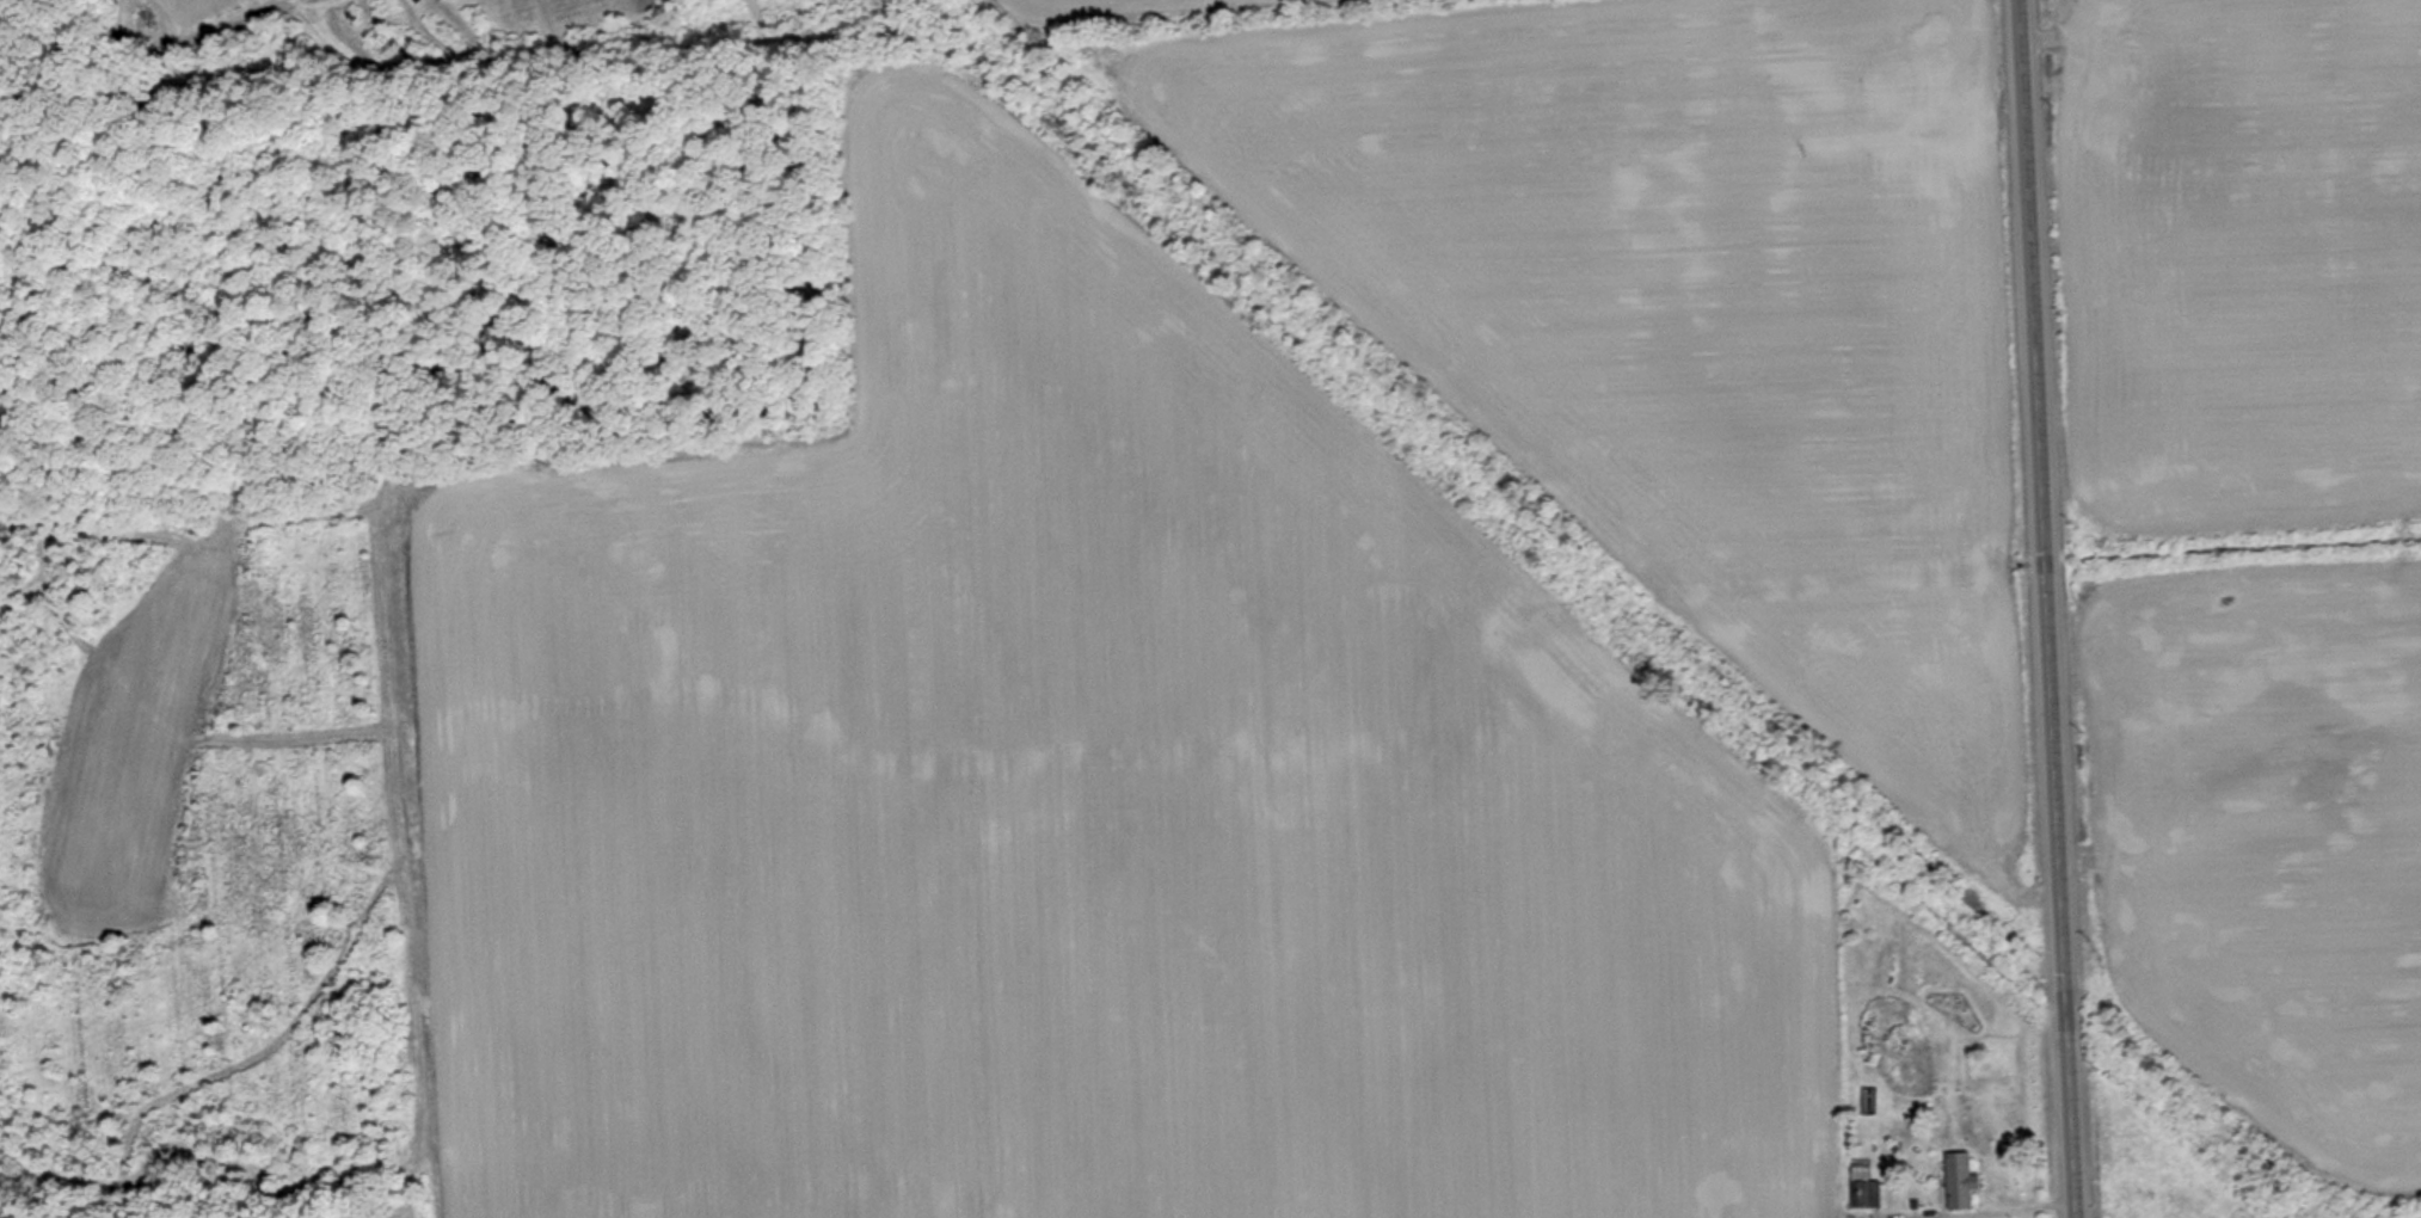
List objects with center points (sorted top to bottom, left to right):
road: (2047, 608)
building: (1959, 1182)
building: (1864, 1189)

